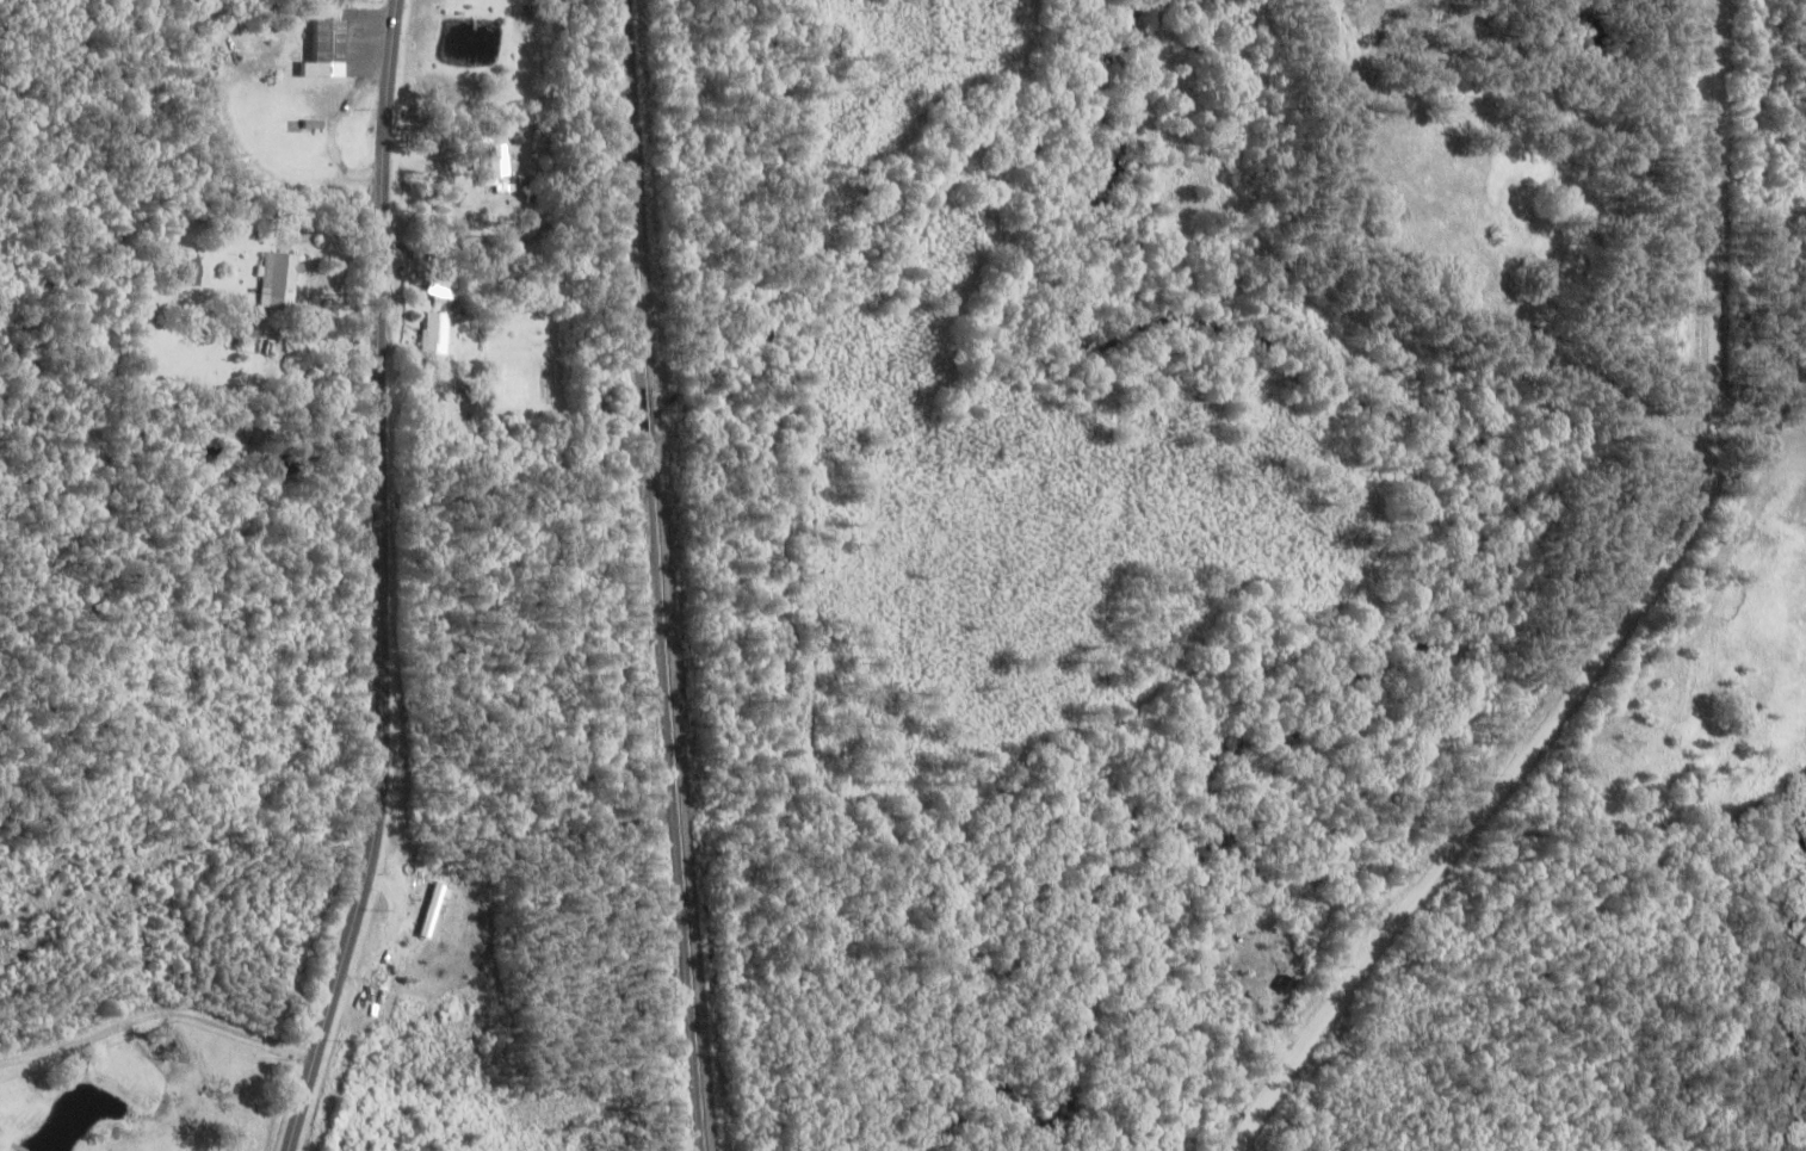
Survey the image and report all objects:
building: (332, 49)
building: (500, 167)
building: (1521, 266)
building: (282, 279)
building: (444, 287)
building: (435, 332)
building: (1721, 561)
railway: (669, 575)
road: (383, 581)
river: (1441, 627)
road: (1640, 629)
building: (437, 909)

